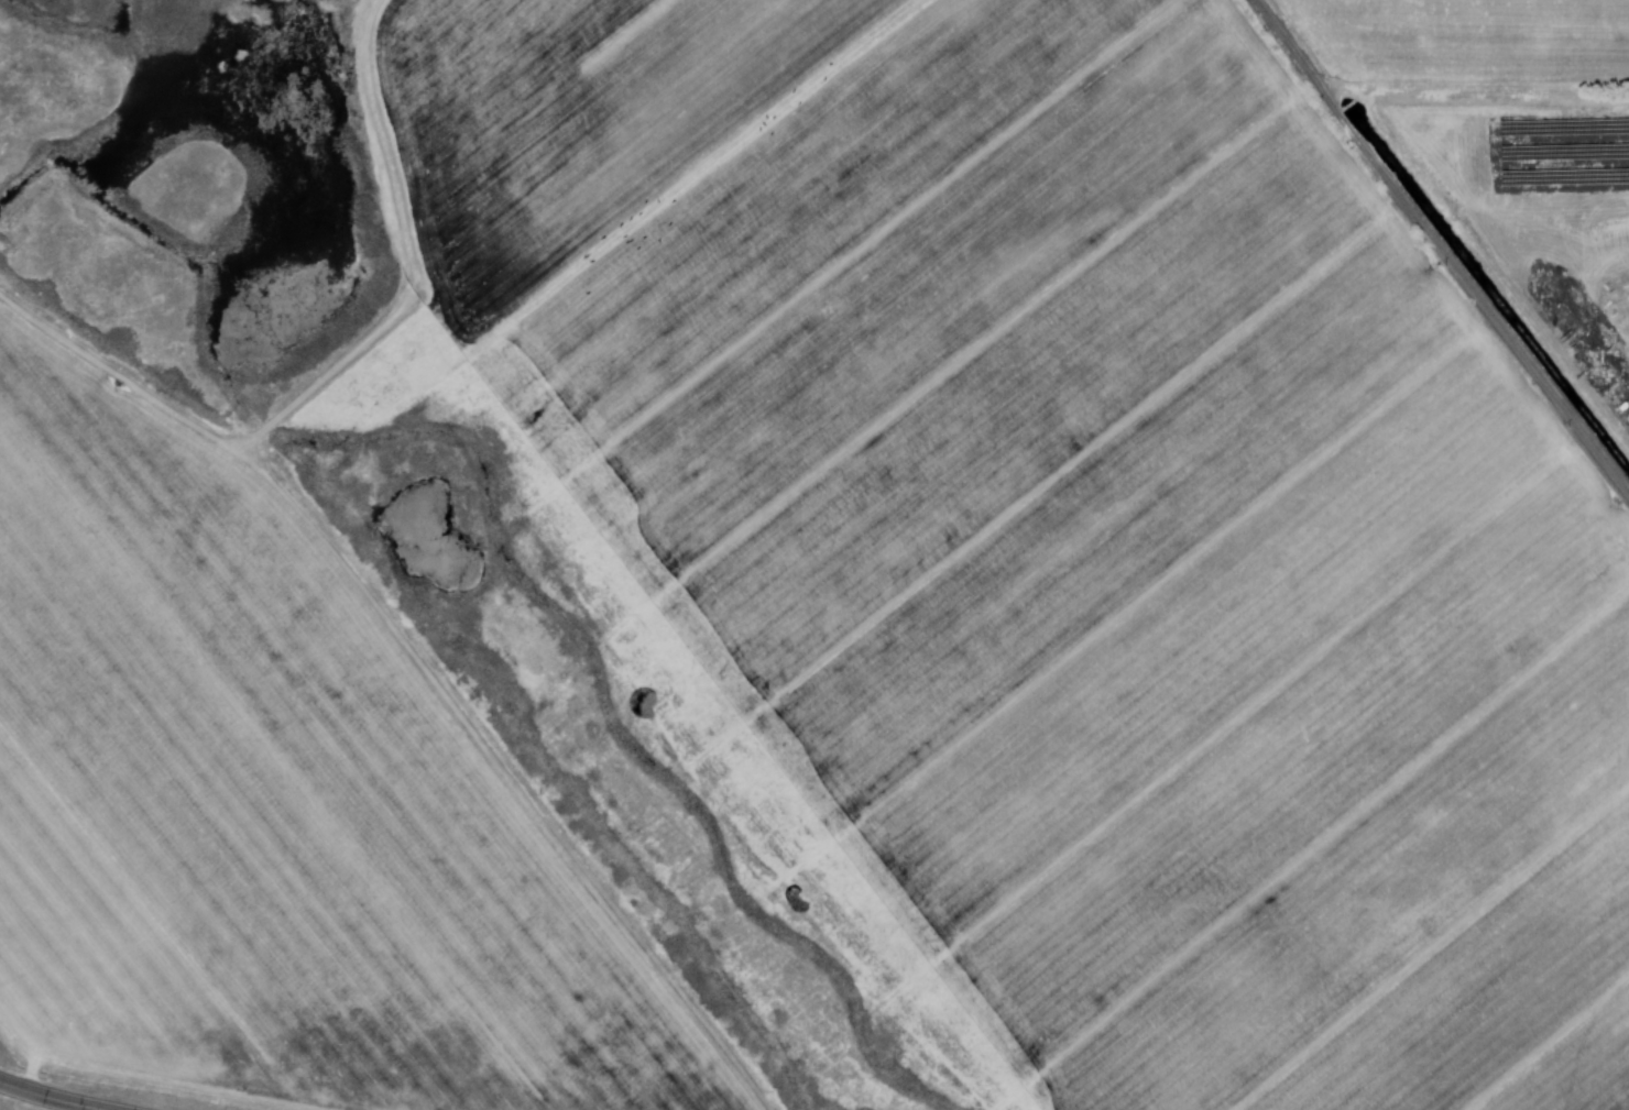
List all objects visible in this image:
road: (39, 1100)

